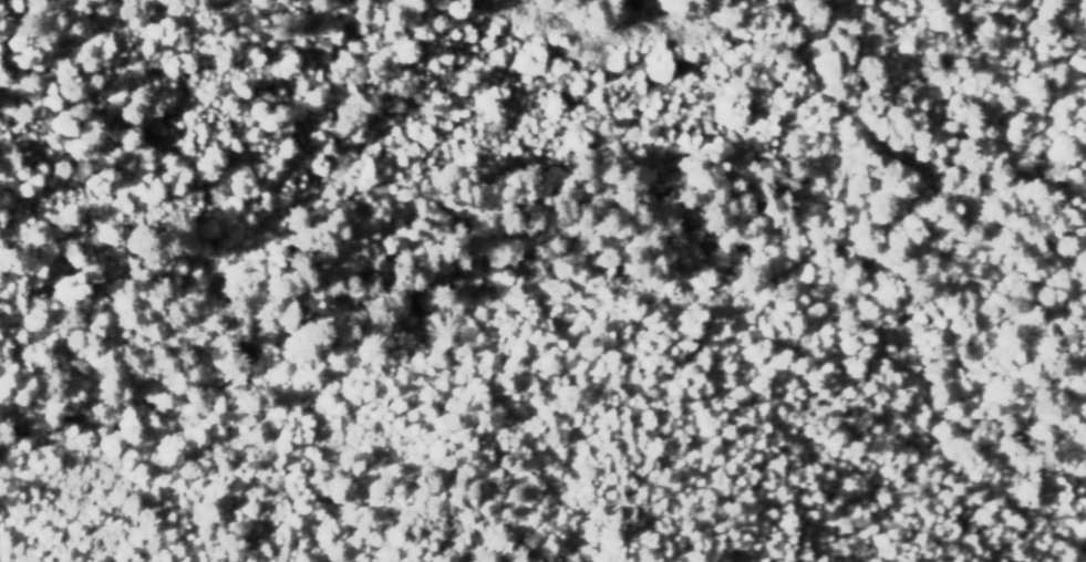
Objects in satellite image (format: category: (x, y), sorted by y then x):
road: (22, 18)
road: (817, 126)

